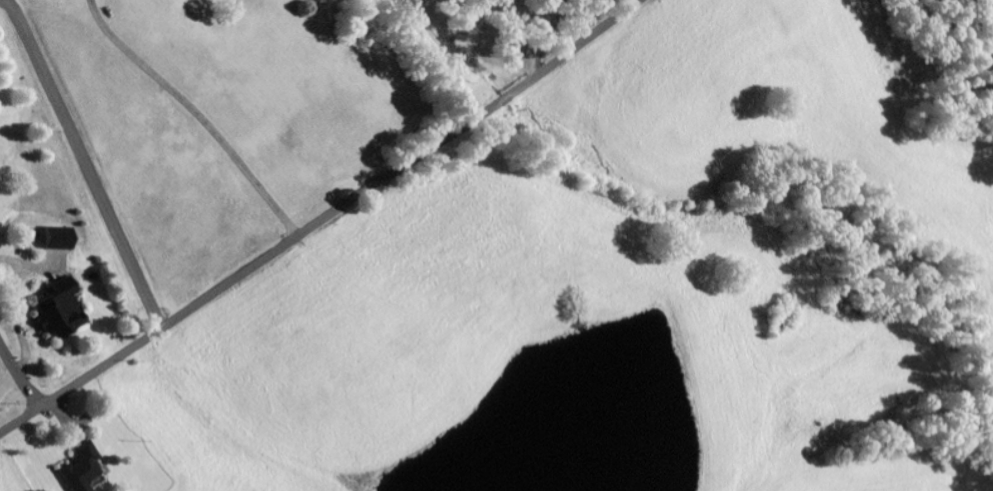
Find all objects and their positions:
road: (88, 162)
road: (323, 220)
building: (57, 314)
road: (18, 376)
building: (79, 469)

